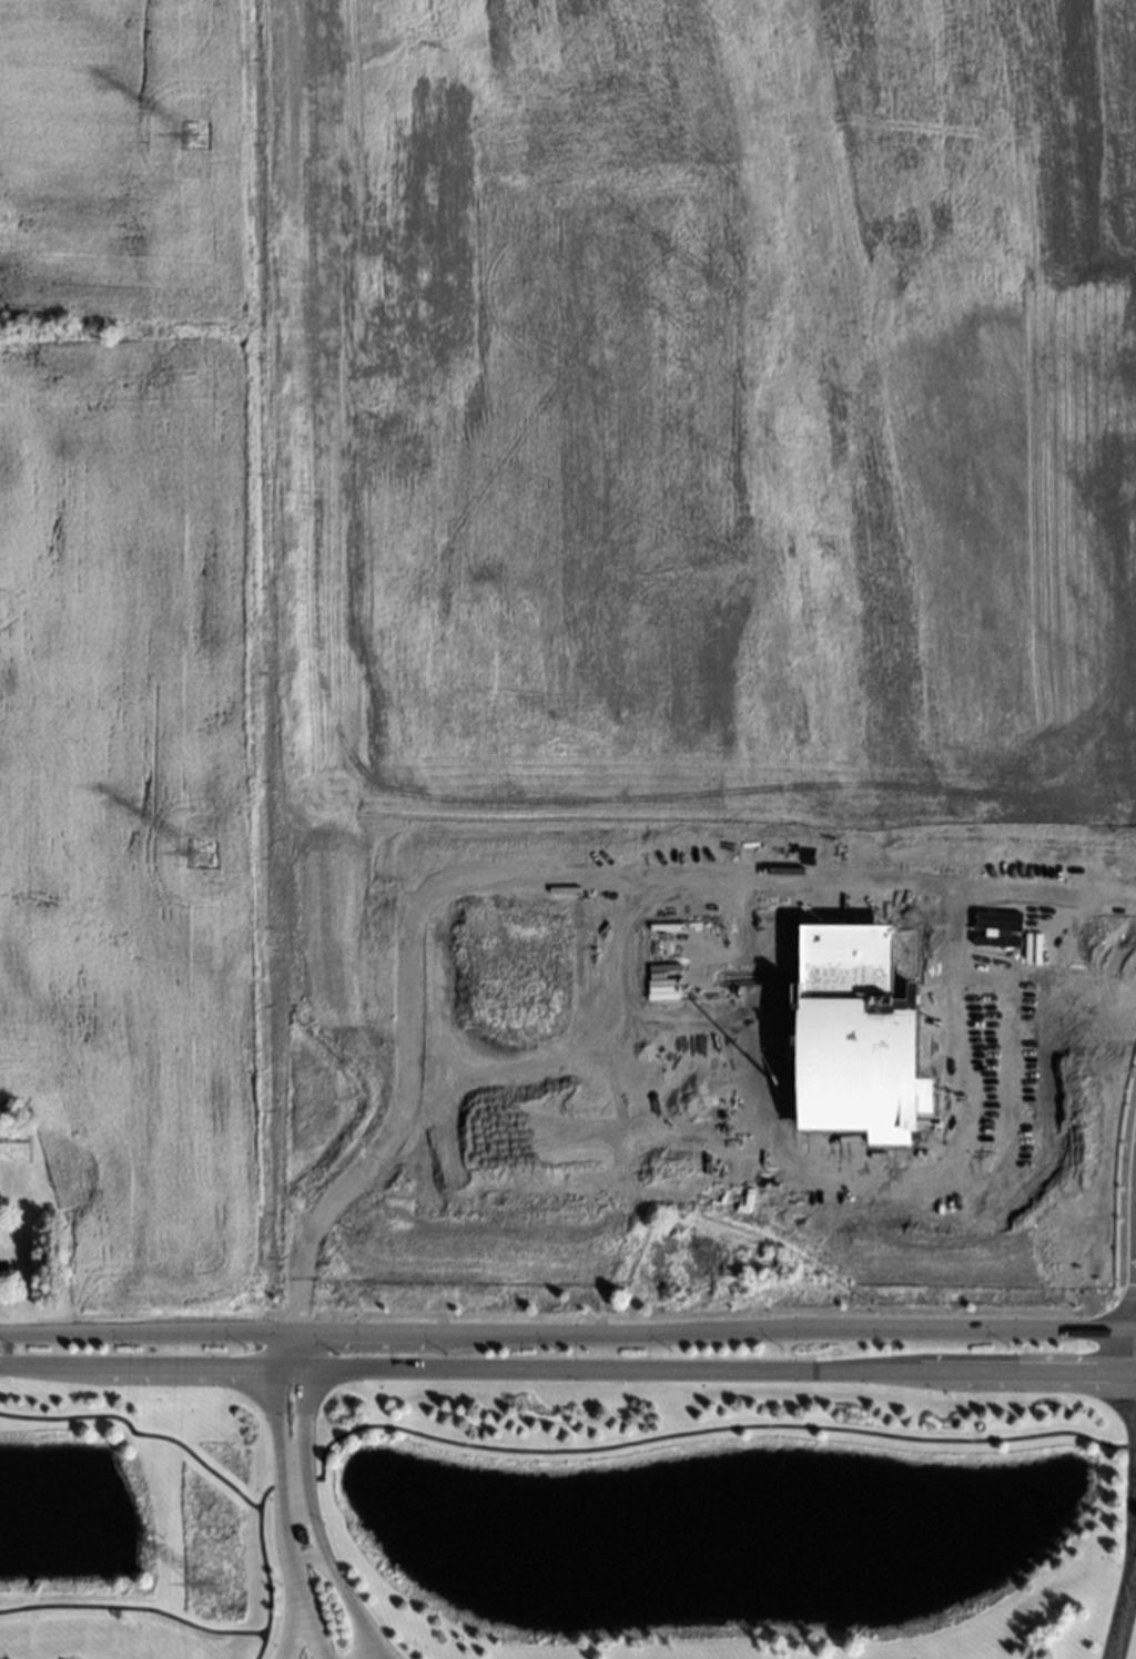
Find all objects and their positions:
power tower: (194, 128)
power tower: (203, 851)
road: (538, 871)
building: (858, 1038)
building: (11, 1140)
building: (734, 1199)
road: (567, 1330)
road: (276, 1347)
road: (303, 1347)
road: (1135, 1363)
road: (138, 1366)
road: (290, 1366)
road: (719, 1366)
road: (136, 1426)
road: (304, 1429)
road: (274, 1431)
road: (696, 1434)
road: (1127, 1446)
road: (1133, 1479)
road: (291, 1576)
road: (334, 1577)
road: (1133, 1577)
power tower: (213, 1582)
road: (146, 1605)
road: (1120, 1621)
road: (304, 1632)

